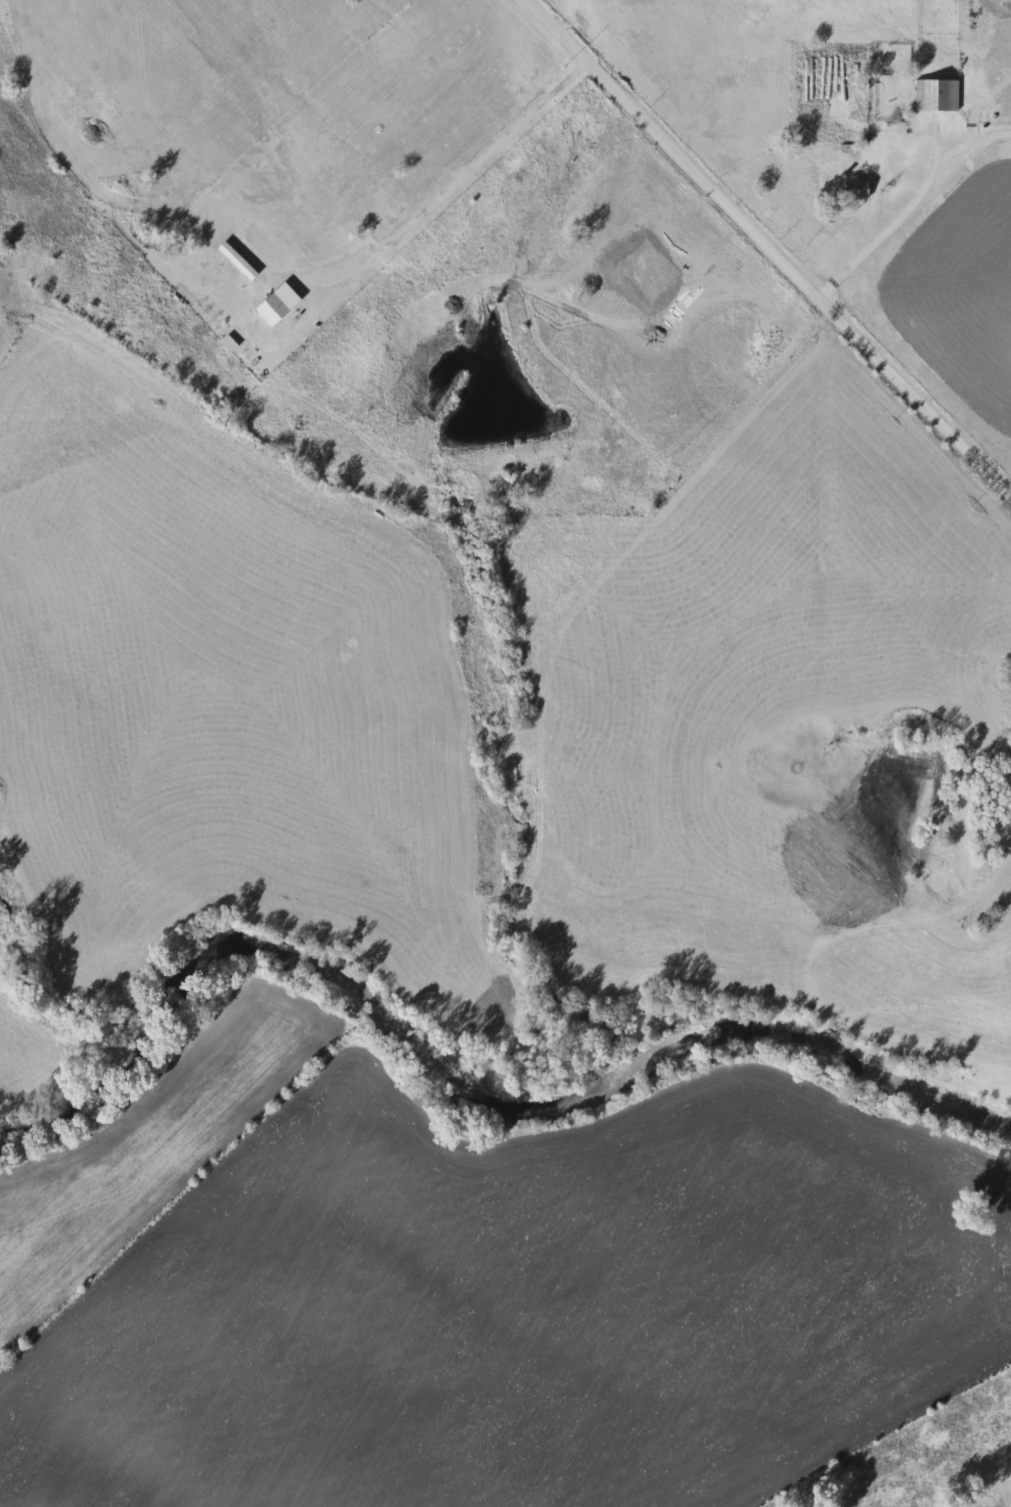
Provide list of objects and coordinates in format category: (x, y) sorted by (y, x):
building: (934, 96)
road: (457, 179)
building: (855, 188)
road: (910, 207)
road: (770, 250)

